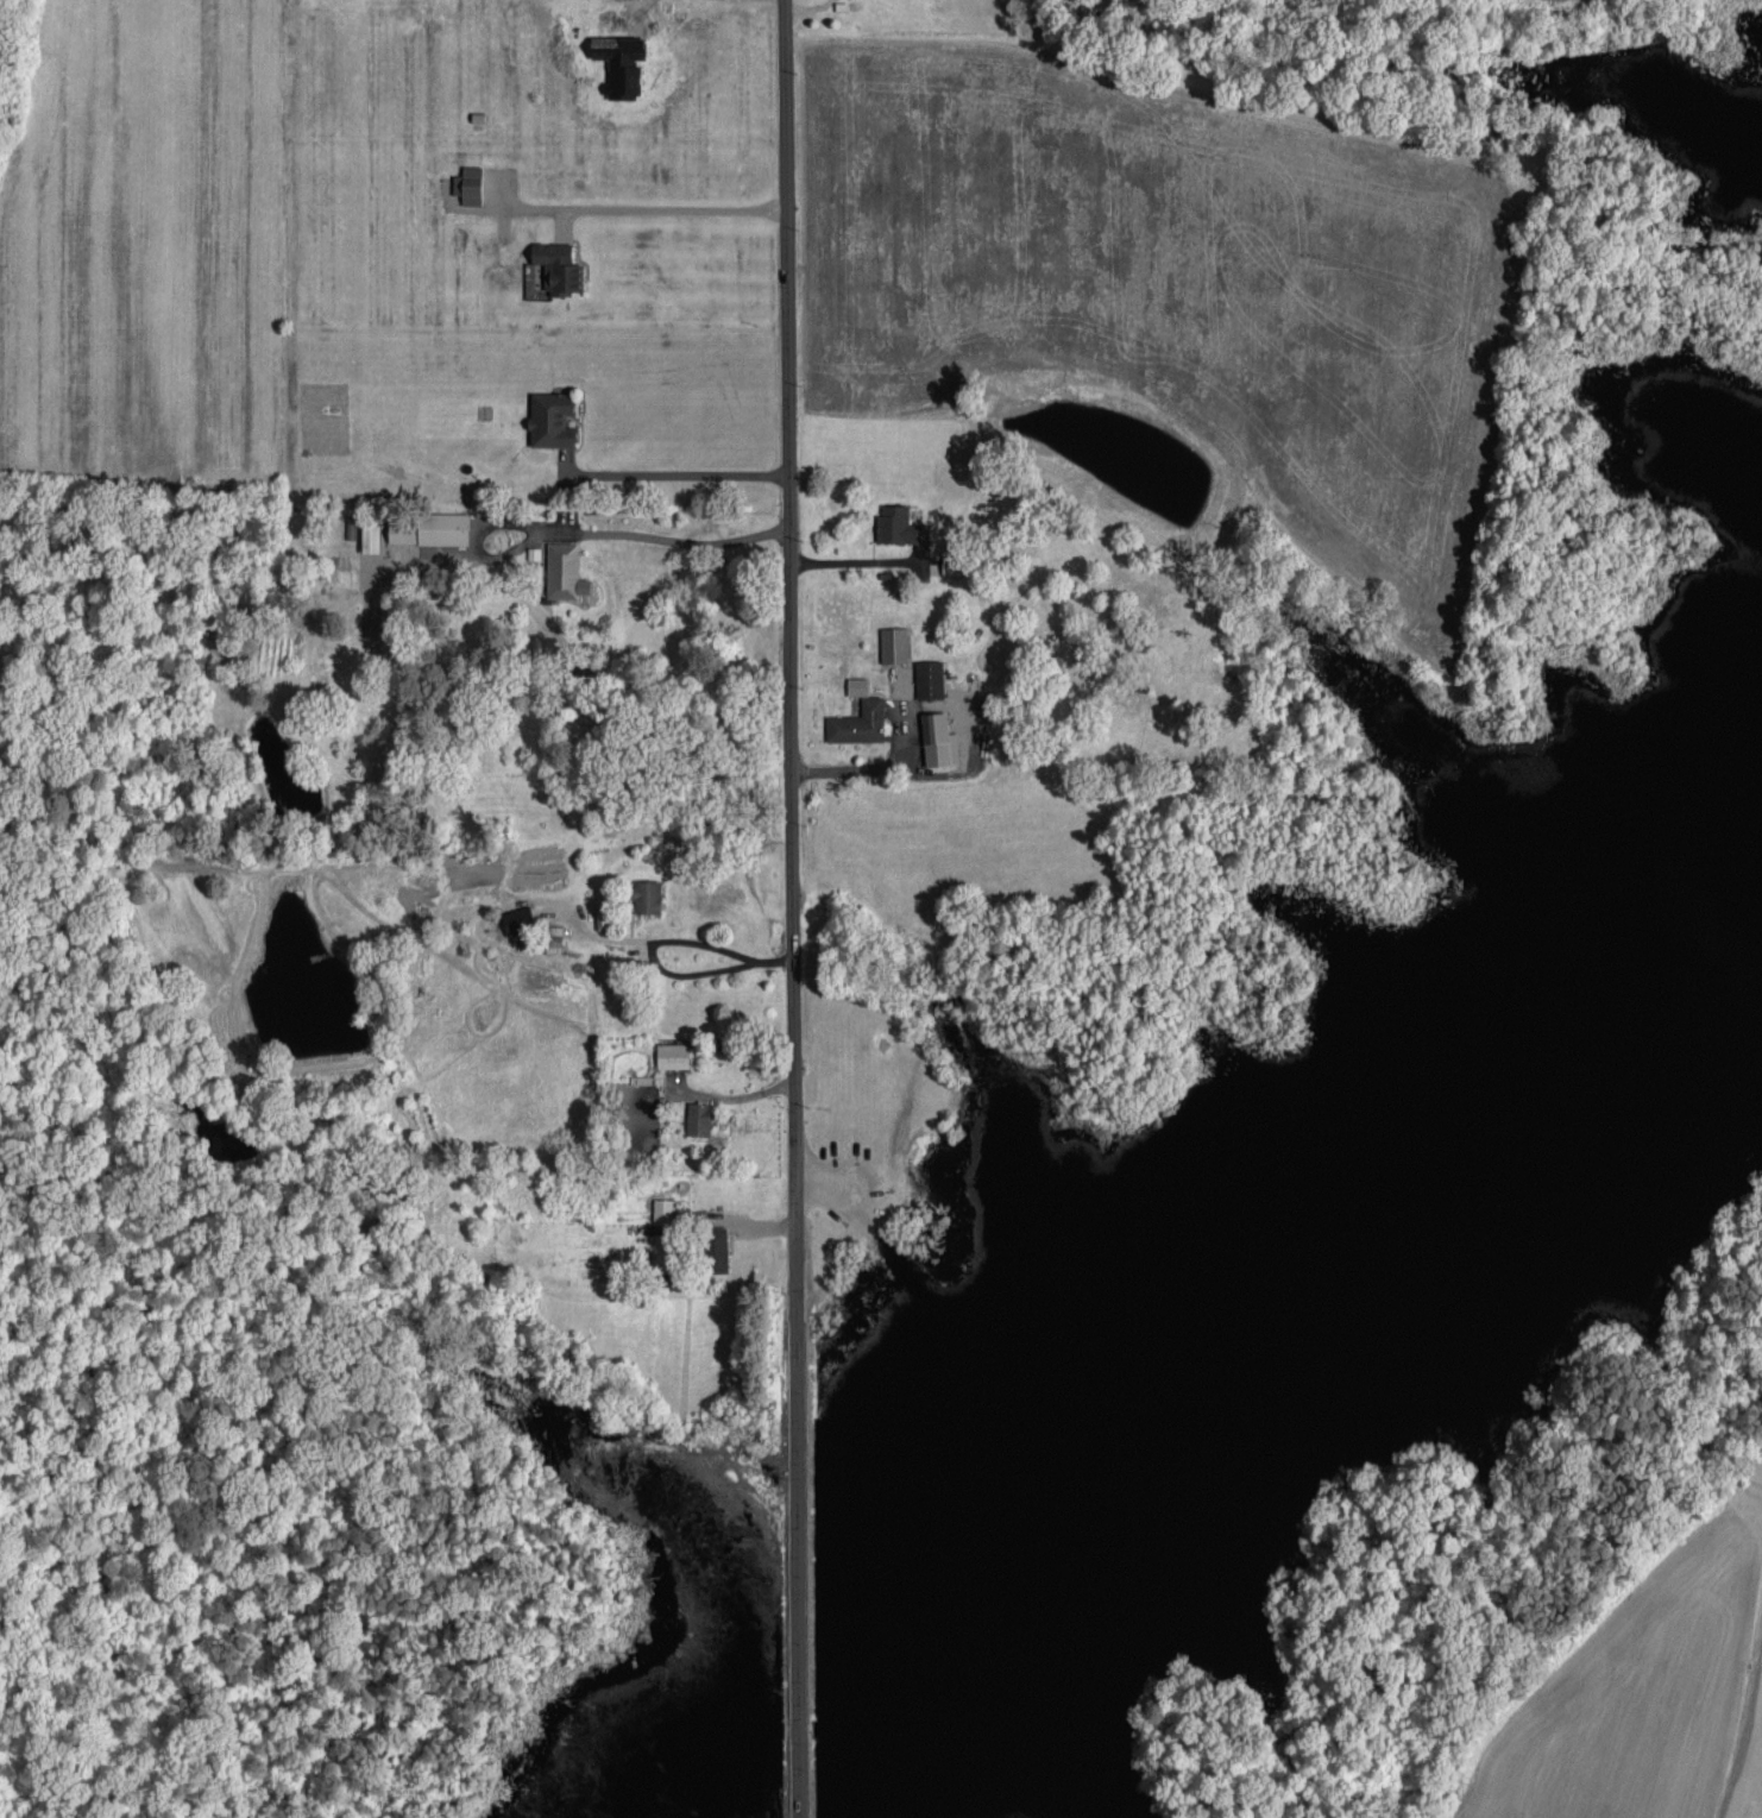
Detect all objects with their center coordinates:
building: (470, 182)
building: (559, 264)
building: (552, 417)
road: (674, 474)
building: (900, 524)
building: (443, 526)
building: (402, 529)
building: (371, 535)
road: (680, 541)
building: (952, 562)
building: (564, 568)
building: (893, 642)
building: (929, 677)
building: (858, 715)
building: (939, 738)
road: (1030, 766)
building: (647, 894)
road: (793, 908)
building: (518, 917)
building: (672, 1053)
building: (698, 1116)
building: (662, 1209)
building: (717, 1247)

